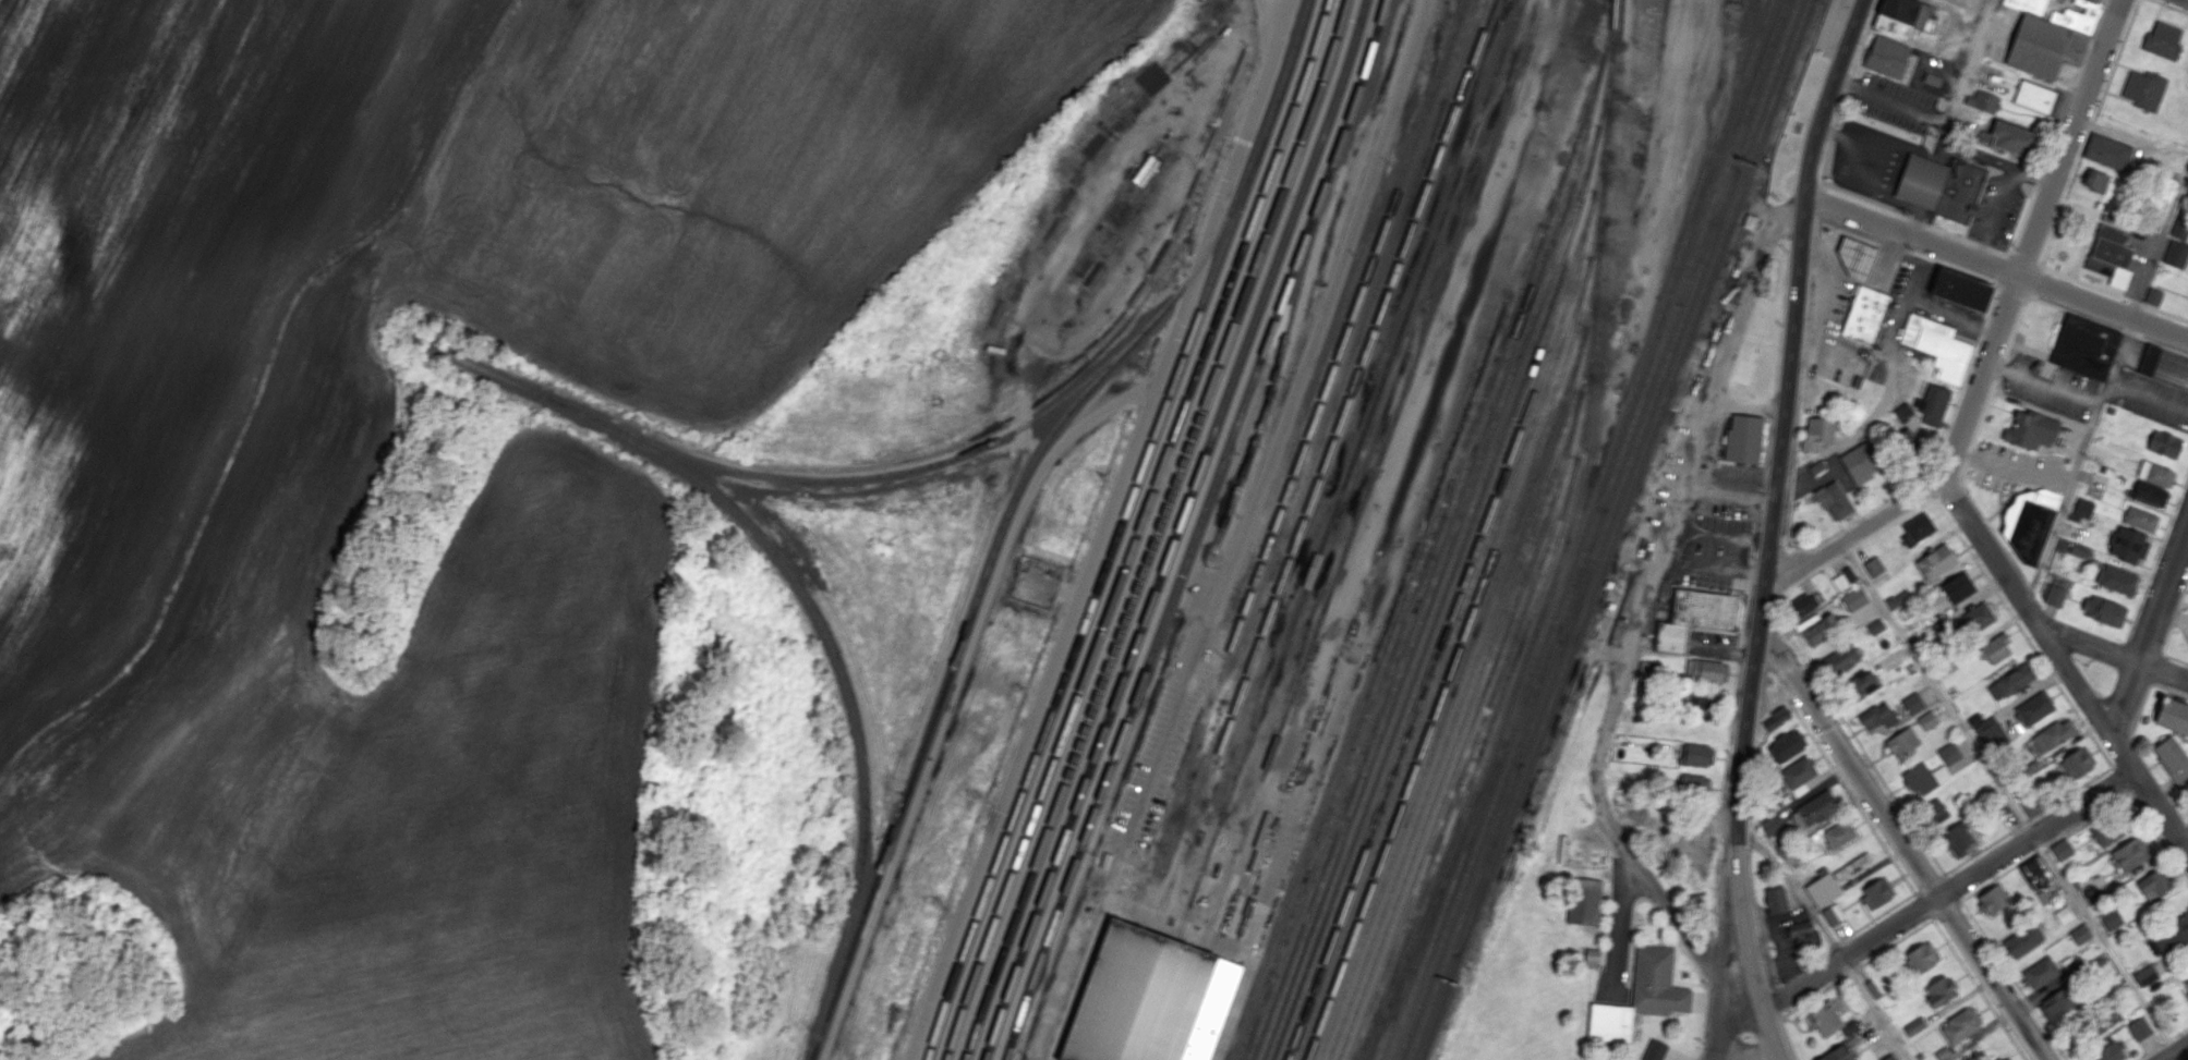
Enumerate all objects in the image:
building: (2092, 1)
building: (2028, 5)
road: (2172, 5)
building: (1908, 13)
parking lot: (1830, 26)
building: (1889, 26)
road: (1864, 37)
building: (2163, 39)
building: (2043, 47)
building: (1885, 57)
parking lot: (1937, 60)
road: (1967, 64)
building: (1932, 78)
road: (1848, 84)
road: (2074, 84)
building: (2144, 89)
road: (1827, 95)
building: (2036, 98)
road: (1890, 99)
building: (1981, 101)
parking lot: (1895, 102)
road: (1839, 109)
road: (1832, 132)
road: (2088, 132)
road: (2071, 136)
building: (2006, 138)
road: (1955, 146)
building: (2107, 151)
road: (1824, 161)
road: (2040, 176)
building: (2095, 181)
building: (1958, 190)
road: (1817, 198)
road: (1862, 200)
parking lot: (1997, 211)
road: (1996, 214)
road: (2077, 219)
road: (1919, 221)
road: (2023, 221)
road: (1847, 227)
building: (2179, 227)
road: (1955, 235)
road: (2071, 236)
road: (1894, 244)
road: (1984, 246)
park: (1775, 252)
road: (2002, 253)
building: (2176, 254)
building: (2110, 256)
building: (1854, 257)
gas station: (1854, 257)
road: (2078, 259)
road: (2023, 260)
road: (1996, 266)
road: (1954, 267)
road: (2004, 269)
road: (2032, 280)
road: (2084, 282)
building: (1958, 290)
road: (2012, 290)
parking lot: (1905, 293)
building: (2153, 295)
road: (2138, 302)
parking lot: (1839, 304)
building: (1863, 313)
road: (2075, 313)
road: (2166, 313)
road: (2128, 331)
parking lot: (1849, 344)
road: (2161, 344)
building: (1935, 346)
building: (2083, 346)
building: (2149, 360)
railway: (1278, 362)
parking lot: (1836, 375)
road: (1982, 376)
road: (2044, 385)
road: (2108, 385)
building: (1933, 404)
building: (1903, 414)
building: (2030, 430)
building: (1816, 431)
building: (1742, 438)
road: (1941, 443)
building: (2164, 444)
road: (1796, 450)
railway: (1297, 461)
building: (1859, 463)
railway: (1323, 465)
parking lot: (2015, 467)
road: (1688, 468)
railway: (1349, 470)
building: (2155, 473)
railway: (880, 474)
railway: (1373, 476)
parking lot: (1732, 491)
building: (2148, 492)
building: (1833, 500)
building: (2081, 509)
building: (2140, 519)
road: (1893, 522)
building: (2027, 523)
railway: (1119, 529)
railway: (1137, 529)
railway: (1158, 529)
railway: (1176, 529)
railway: (1197, 529)
railway: (1581, 529)
railway: (1593, 529)
railway: (1605, 529)
railway: (1615, 529)
building: (1917, 529)
railway: (1431, 532)
road: (1855, 532)
road: (2186, 543)
railway: (1566, 545)
building: (2129, 545)
road: (1799, 548)
road: (1848, 549)
building: (2079, 550)
parking lot: (1715, 551)
road: (2156, 557)
crop: (166, 561)
building: (1936, 562)
railway: (1428, 566)
railway: (1439, 566)
building: (1874, 566)
building: (1844, 578)
building: (2115, 578)
railway: (799, 582)
railway: (978, 584)
building: (1958, 587)
railway: (1448, 595)
building: (2054, 595)
building: (1854, 598)
building: (1898, 598)
road: (2184, 602)
railway: (1435, 606)
building: (1800, 606)
building: (2104, 611)
building: (1693, 616)
railway: (1388, 617)
building: (1979, 617)
road: (2174, 617)
building: (1809, 620)
railway: (1455, 625)
building: (1943, 625)
building: (1875, 626)
road: (1758, 630)
building: (1818, 631)
road: (2023, 631)
road: (2150, 633)
railway: (1443, 635)
road: (2143, 646)
building: (1996, 647)
road: (2115, 653)
road: (2175, 658)
building: (1841, 659)
railway: (1464, 662)
road: (2067, 662)
road: (2157, 668)
building: (1646, 669)
railway: (1450, 670)
building: (1704, 670)
railway: (1533, 678)
building: (2010, 682)
building: (1861, 683)
road: (1937, 687)
road: (2171, 689)
railway: (1472, 695)
building: (1706, 699)
building: (1912, 703)
railway: (1458, 704)
road: (1833, 704)
building: (2034, 708)
road: (2139, 709)
building: (2172, 715)
building: (1878, 716)
building: (1776, 718)
building: (1927, 720)
railway: (1480, 726)
building: (1991, 733)
railway: (1465, 734)
building: (2052, 735)
building: (1902, 743)
building: (1786, 745)
building: (1949, 754)
building: (1696, 756)
building: (2172, 758)
building: (2078, 762)
railway: (1473, 769)
building: (1798, 775)
building: (1924, 778)
road: (2121, 779)
building: (1695, 787)
road: (2071, 792)
road: (1851, 795)
building: (2030, 806)
building: (1814, 809)
building: (1935, 811)
railway: (1474, 814)
road: (2091, 817)
road: (2024, 821)
building: (1770, 825)
building: (2112, 830)
building: (1839, 833)
road: (2160, 836)
building: (1687, 837)
building: (1957, 838)
road: (1903, 842)
road: (2044, 846)
building: (2062, 849)
road: (1982, 850)
building: (2130, 854)
building: (1851, 866)
building: (2036, 873)
road: (1999, 876)
road: (1929, 882)
building: (2152, 886)
road: (1951, 887)
building: (1823, 889)
road: (1949, 889)
road: (1654, 890)
road: (1796, 890)
building: (1876, 892)
building: (1993, 899)
road: (1652, 900)
building: (1775, 900)
building: (1584, 901)
road: (1923, 905)
road: (1947, 909)
building: (1833, 914)
building: (2064, 914)
road: (1878, 916)
building: (2111, 918)
building: (1803, 933)
building: (2080, 934)
building: (2168, 937)
road: (1669, 939)
road: (1664, 940)
building: (2022, 940)
railway: (1416, 942)
road: (1896, 942)
road: (2105, 942)
road: (1835, 943)
building: (1591, 954)
road: (1815, 957)
building: (1922, 957)
road: (1852, 971)
building: (2040, 972)
building: (2145, 975)
road: (2014, 979)
building: (2186, 982)
road: (1689, 983)
road: (1979, 989)
building: (1941, 990)
railway: (1103, 991)
railway: (1128, 996)
road: (1813, 996)
building: (1636, 998)
building: (1145, 999)
road: (1706, 999)
railway: (1153, 1000)
building: (2057, 1003)
railway: (1178, 1004)
road: (1876, 1009)
building: (1823, 1018)
building: (2106, 1021)
road: (1728, 1023)
building: (1961, 1024)
building: (1914, 1026)
building: (2139, 1027)
road: (2180, 1031)
road: (1702, 1037)
road: (1788, 1038)
road: (2168, 1039)
railway: (1370, 1046)
building: (1653, 1050)
road: (2150, 1051)
road: (2176, 1051)
building: (1836, 1053)
building: (2105, 1053)
building: (1889, 1057)
building: (2006, 1059)

